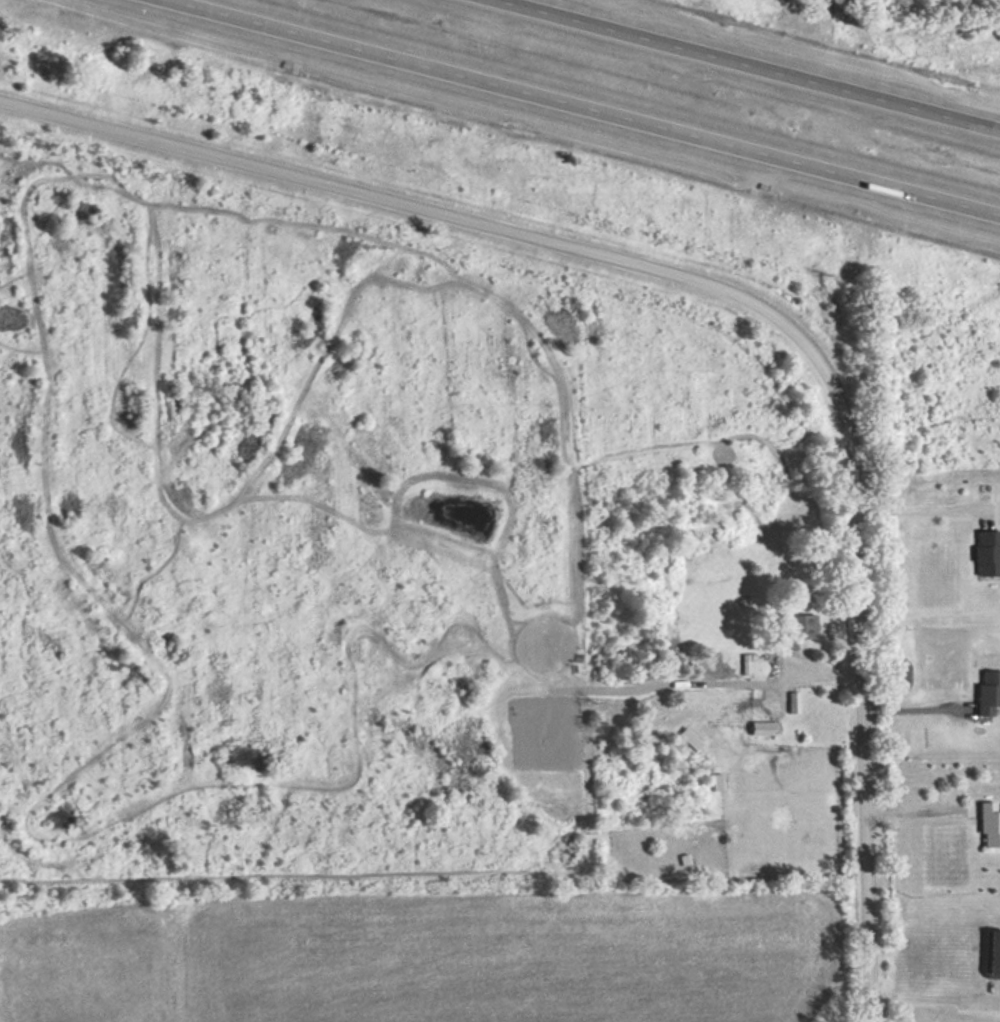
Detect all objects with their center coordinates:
road: (758, 64)
road: (588, 105)
road: (426, 210)
road: (913, 510)
building: (981, 552)
building: (791, 629)
building: (725, 688)
building: (984, 691)
road: (854, 696)
road: (907, 711)
building: (757, 728)
road: (913, 804)
building: (986, 824)
building: (988, 953)
road: (929, 991)

